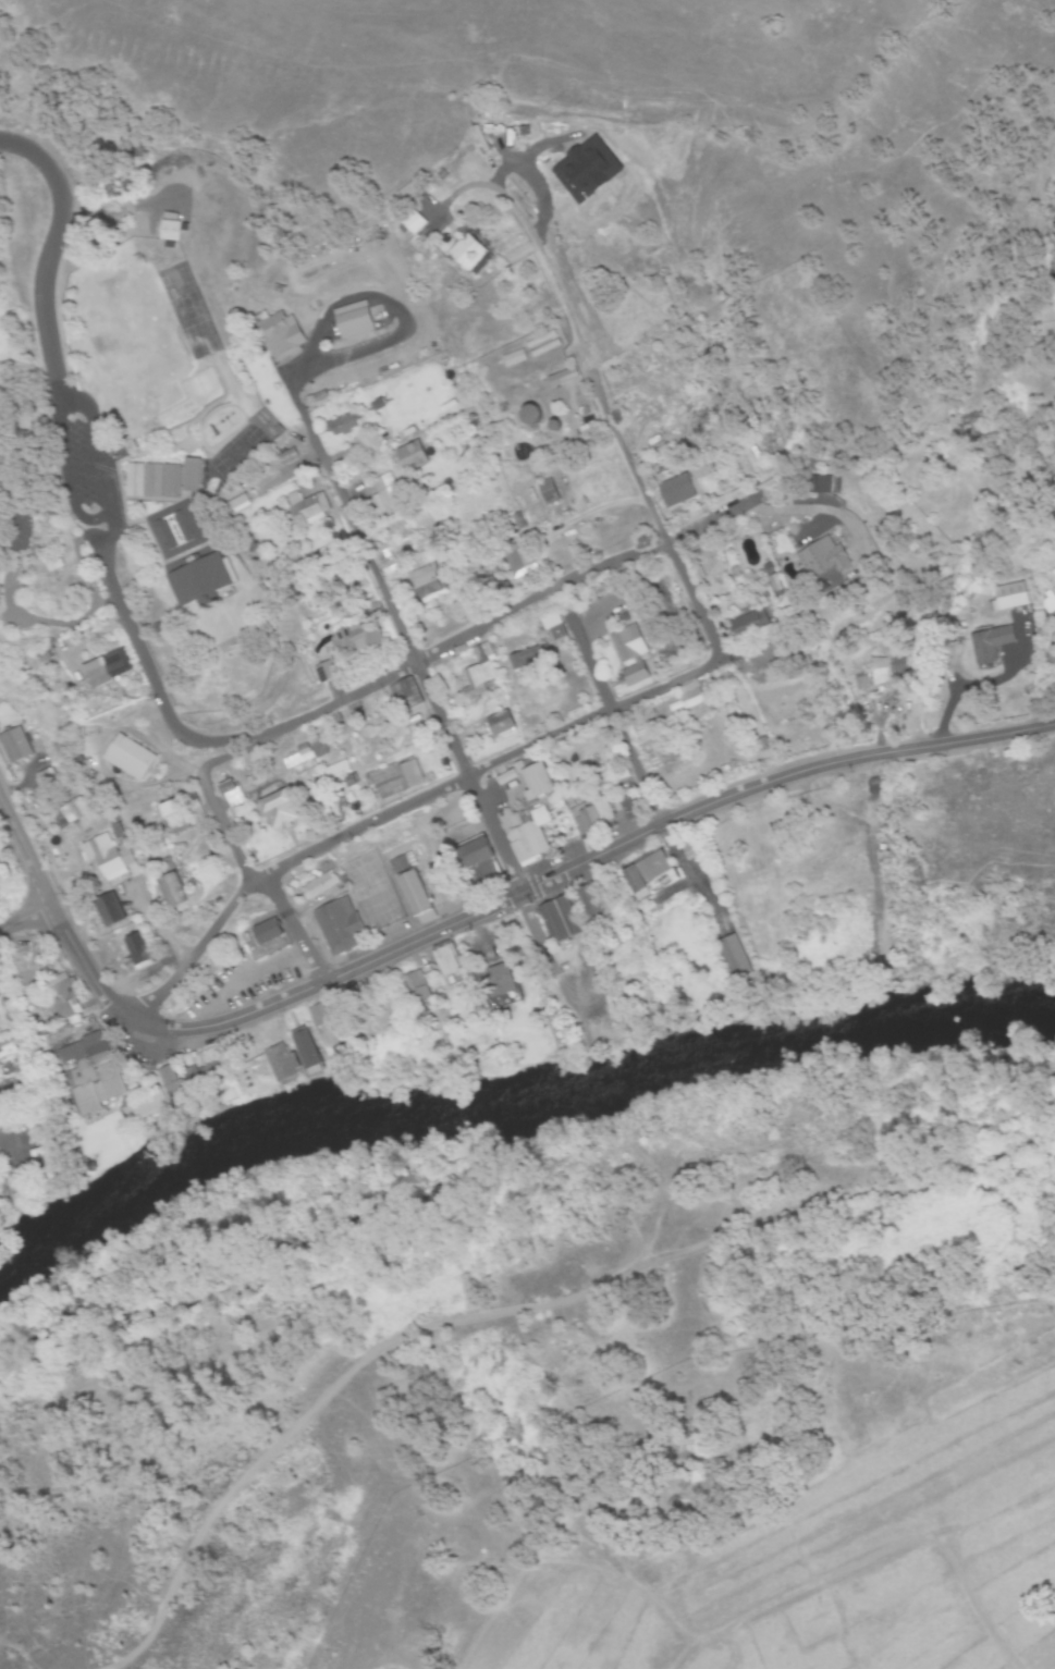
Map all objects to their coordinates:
building: (167, 232)
road: (49, 244)
building: (467, 250)
road: (553, 278)
building: (354, 321)
building: (284, 336)
building: (544, 345)
building: (516, 360)
building: (562, 379)
road: (61, 388)
building: (529, 415)
building: (344, 426)
building: (585, 430)
road: (63, 458)
building: (412, 458)
road: (101, 467)
road: (330, 468)
building: (160, 480)
building: (818, 486)
building: (676, 492)
building: (388, 495)
building: (234, 506)
building: (308, 511)
road: (818, 511)
road: (97, 518)
building: (19, 530)
building: (172, 531)
road: (672, 547)
building: (821, 559)
building: (520, 560)
road: (82, 567)
road: (327, 570)
building: (195, 580)
building: (426, 584)
road: (46, 622)
building: (748, 625)
building: (556, 628)
road: (478, 633)
building: (357, 639)
building: (986, 645)
building: (625, 647)
road: (142, 651)
building: (524, 660)
building: (107, 670)
building: (884, 673)
building: (634, 676)
building: (478, 682)
building: (405, 690)
building: (690, 697)
road: (611, 709)
building: (499, 725)
building: (131, 758)
building: (299, 758)
building: (334, 772)
road: (466, 774)
building: (394, 781)
building: (258, 782)
building: (536, 782)
building: (233, 795)
road: (209, 798)
road: (402, 807)
building: (630, 808)
building: (279, 810)
building: (75, 811)
building: (591, 817)
building: (175, 819)
building: (528, 837)
road: (237, 856)
building: (108, 858)
road: (586, 860)
building: (477, 863)
building: (648, 875)
building: (413, 893)
building: (170, 894)
building: (588, 903)
road: (24, 917)
building: (557, 920)
road: (57, 922)
building: (339, 926)
road: (292, 928)
building: (265, 933)
building: (136, 952)
building: (445, 960)
building: (495, 982)
building: (416, 987)
building: (46, 995)
building: (0, 1018)
building: (320, 1019)
building: (303, 1048)
building: (279, 1063)
building: (89, 1069)
building: (204, 1076)
building: (144, 1106)
river: (508, 1130)
road: (4, 1145)
road: (517, 1312)

